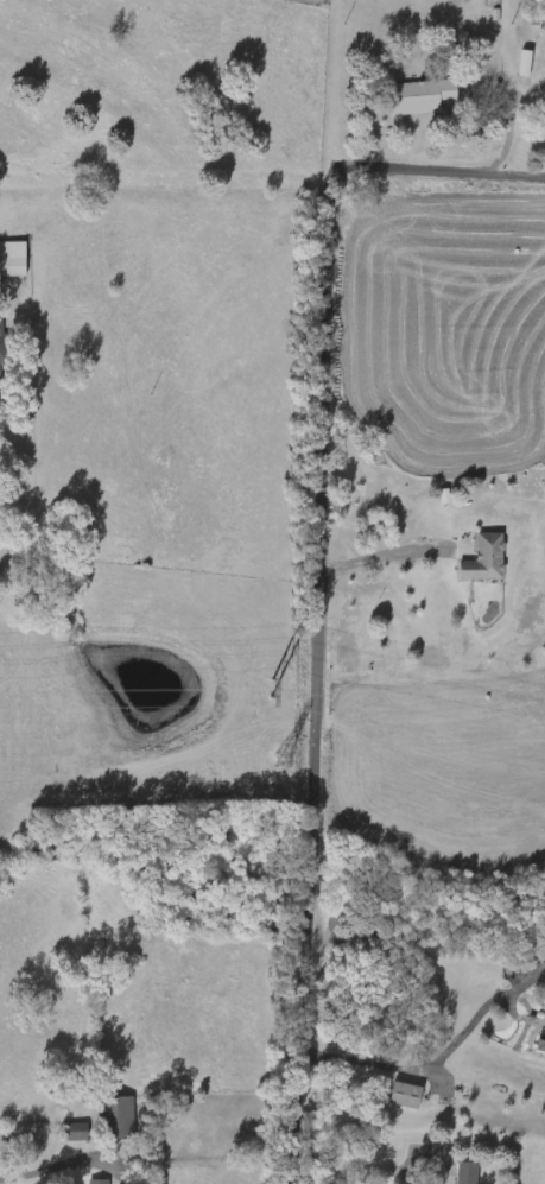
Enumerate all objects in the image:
building: (423, 99)
building: (13, 260)
building: (1, 349)
road: (25, 433)
road: (387, 559)
building: (487, 561)
road: (321, 577)
power tower: (272, 697)
building: (544, 1047)
road: (433, 1071)
building: (406, 1096)
building: (116, 1119)
building: (76, 1133)
road: (429, 1157)
road: (347, 1165)
building: (468, 1173)
road: (47, 1176)
road: (403, 1179)
building: (99, 1182)

